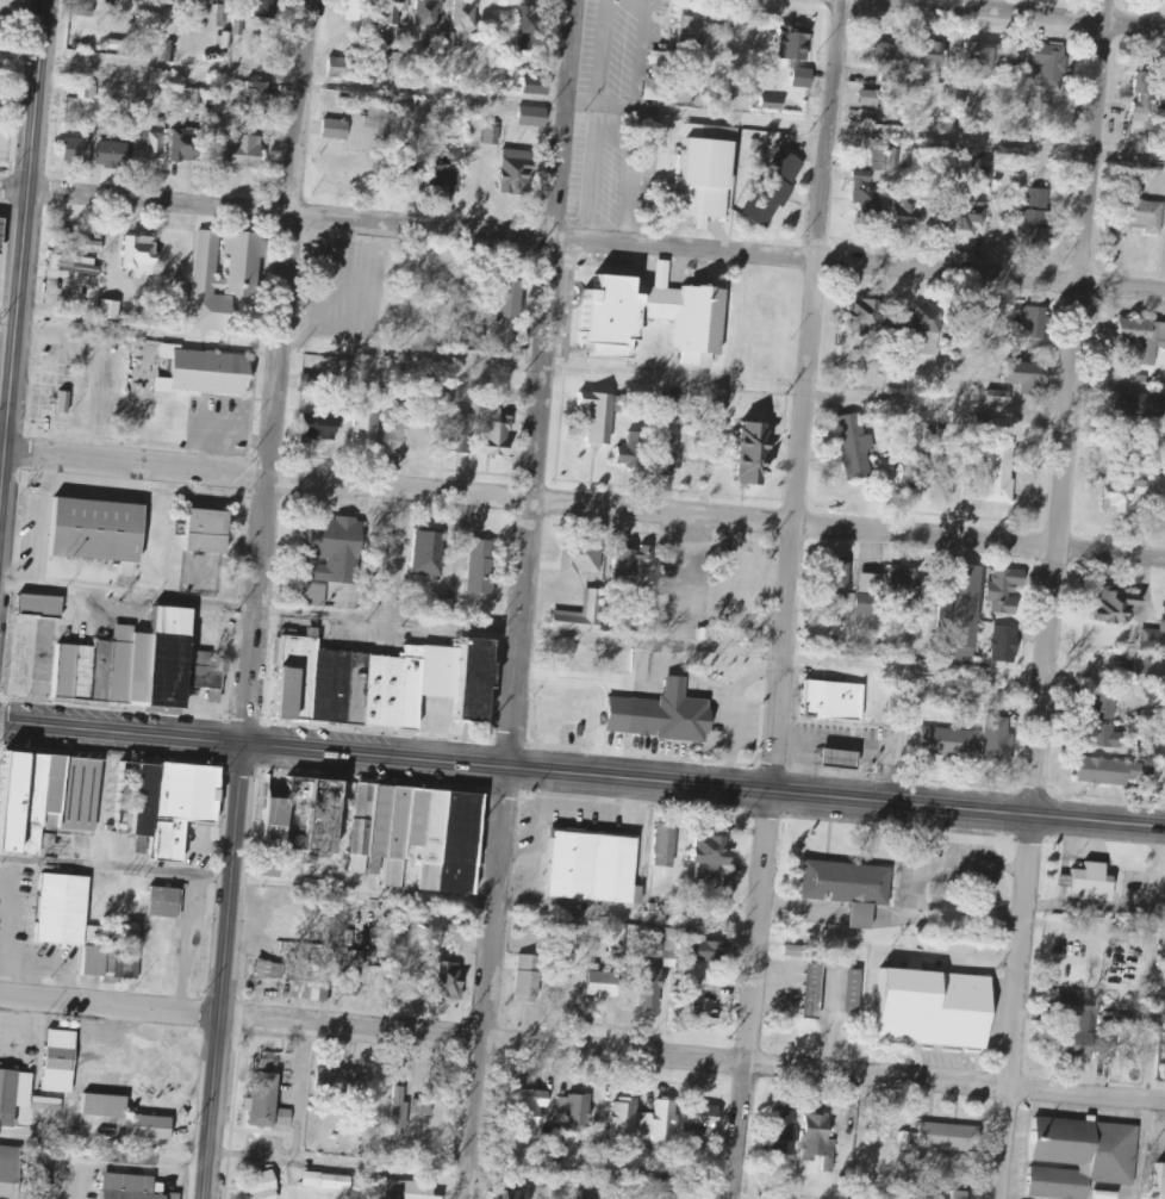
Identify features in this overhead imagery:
building: (164, 2)
building: (199, 7)
building: (224, 8)
building: (264, 8)
building: (360, 10)
building: (429, 13)
road: (1024, 14)
building: (238, 24)
building: (462, 24)
building: (531, 27)
building: (693, 33)
building: (798, 56)
building: (910, 60)
building: (979, 60)
building: (390, 63)
building: (1049, 63)
building: (660, 64)
building: (339, 68)
building: (513, 76)
building: (536, 85)
building: (88, 87)
building: (656, 89)
building: (257, 93)
building: (1144, 93)
building: (871, 99)
building: (958, 99)
building: (773, 104)
building: (75, 111)
building: (375, 114)
building: (534, 117)
building: (337, 129)
building: (185, 145)
building: (242, 150)
building: (77, 151)
building: (149, 153)
building: (111, 155)
building: (895, 159)
building: (403, 167)
building: (447, 172)
building: (516, 172)
building: (706, 173)
building: (777, 186)
building: (866, 195)
building: (909, 210)
building: (1142, 212)
building: (1036, 218)
building: (965, 220)
building: (1, 232)
road: (582, 244)
road: (20, 255)
building: (142, 255)
building: (79, 266)
building: (245, 274)
building: (112, 310)
building: (510, 315)
building: (865, 316)
building: (653, 318)
building: (1032, 323)
building: (927, 330)
building: (1144, 340)
building: (207, 372)
road: (278, 372)
building: (1030, 374)
building: (312, 383)
building: (999, 395)
building: (716, 398)
building: (673, 399)
building: (64, 402)
building: (1133, 404)
building: (600, 416)
building: (318, 428)
building: (367, 428)
building: (461, 433)
building: (499, 436)
building: (855, 447)
building: (630, 451)
building: (756, 453)
building: (667, 455)
building: (916, 471)
building: (1001, 473)
building: (1122, 493)
road: (582, 502)
building: (96, 530)
building: (205, 530)
building: (430, 553)
building: (329, 555)
building: (582, 555)
building: (631, 561)
building: (484, 567)
building: (904, 583)
road: (13, 584)
building: (1008, 590)
building: (870, 595)
road: (785, 598)
road: (524, 599)
road: (1053, 599)
building: (43, 605)
building: (1117, 607)
building: (959, 611)
building: (582, 615)
road: (522, 630)
building: (1154, 639)
building: (1005, 644)
building: (154, 665)
building: (63, 670)
building: (82, 672)
building: (1150, 673)
building: (384, 684)
building: (217, 697)
building: (830, 701)
building: (1107, 704)
building: (574, 715)
building: (669, 715)
road: (120, 733)
building: (1108, 737)
building: (997, 740)
building: (947, 743)
building: (1146, 754)
building: (837, 759)
building: (1119, 772)
road: (702, 788)
building: (30, 800)
building: (172, 807)
building: (301, 814)
building: (417, 835)
building: (666, 845)
building: (711, 852)
building: (272, 866)
building: (592, 869)
building: (1092, 883)
building: (845, 887)
building: (167, 902)
building: (79, 927)
building: (136, 933)
building: (671, 946)
building: (796, 951)
building: (708, 952)
building: (356, 959)
road: (218, 970)
building: (272, 970)
building: (447, 977)
building: (529, 979)
building: (307, 980)
building: (353, 983)
building: (604, 986)
building: (650, 987)
building: (810, 990)
building: (851, 990)
building: (704, 1001)
building: (930, 1008)
building: (1079, 1012)
building: (1164, 1014)
building: (1084, 1046)
road: (581, 1050)
building: (74, 1060)
building: (12, 1093)
building: (266, 1105)
building: (423, 1107)
building: (399, 1113)
building: (575, 1113)
building: (530, 1114)
building: (125, 1116)
building: (625, 1117)
building: (704, 1119)
building: (660, 1123)
building: (785, 1133)
building: (817, 1136)
building: (946, 1137)
building: (559, 1151)
building: (641, 1156)
building: (1076, 1156)
building: (8, 1170)
building: (1160, 1178)
building: (329, 1181)
building: (264, 1186)
building: (129, 1187)
building: (407, 1191)
building: (521, 1194)
building: (959, 1195)

